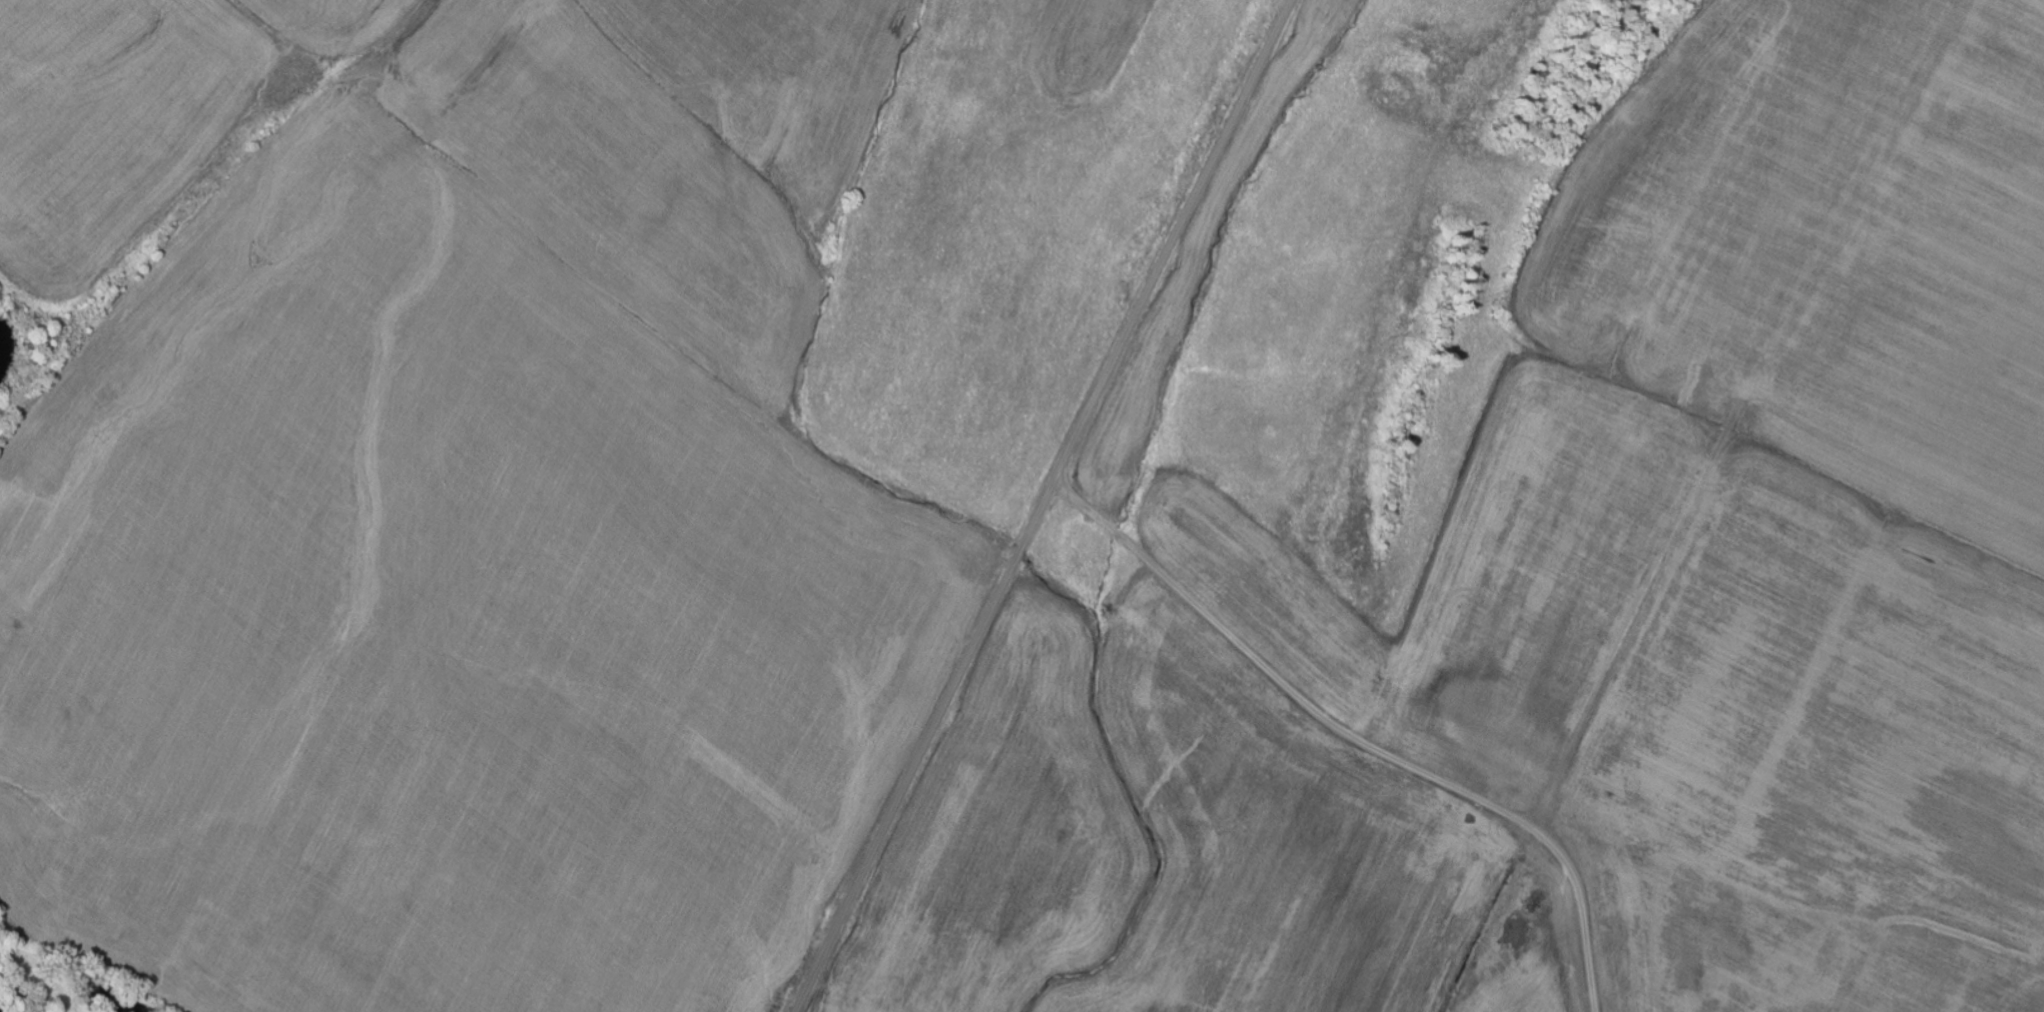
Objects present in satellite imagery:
road: (1615, 393)
road: (1045, 505)

